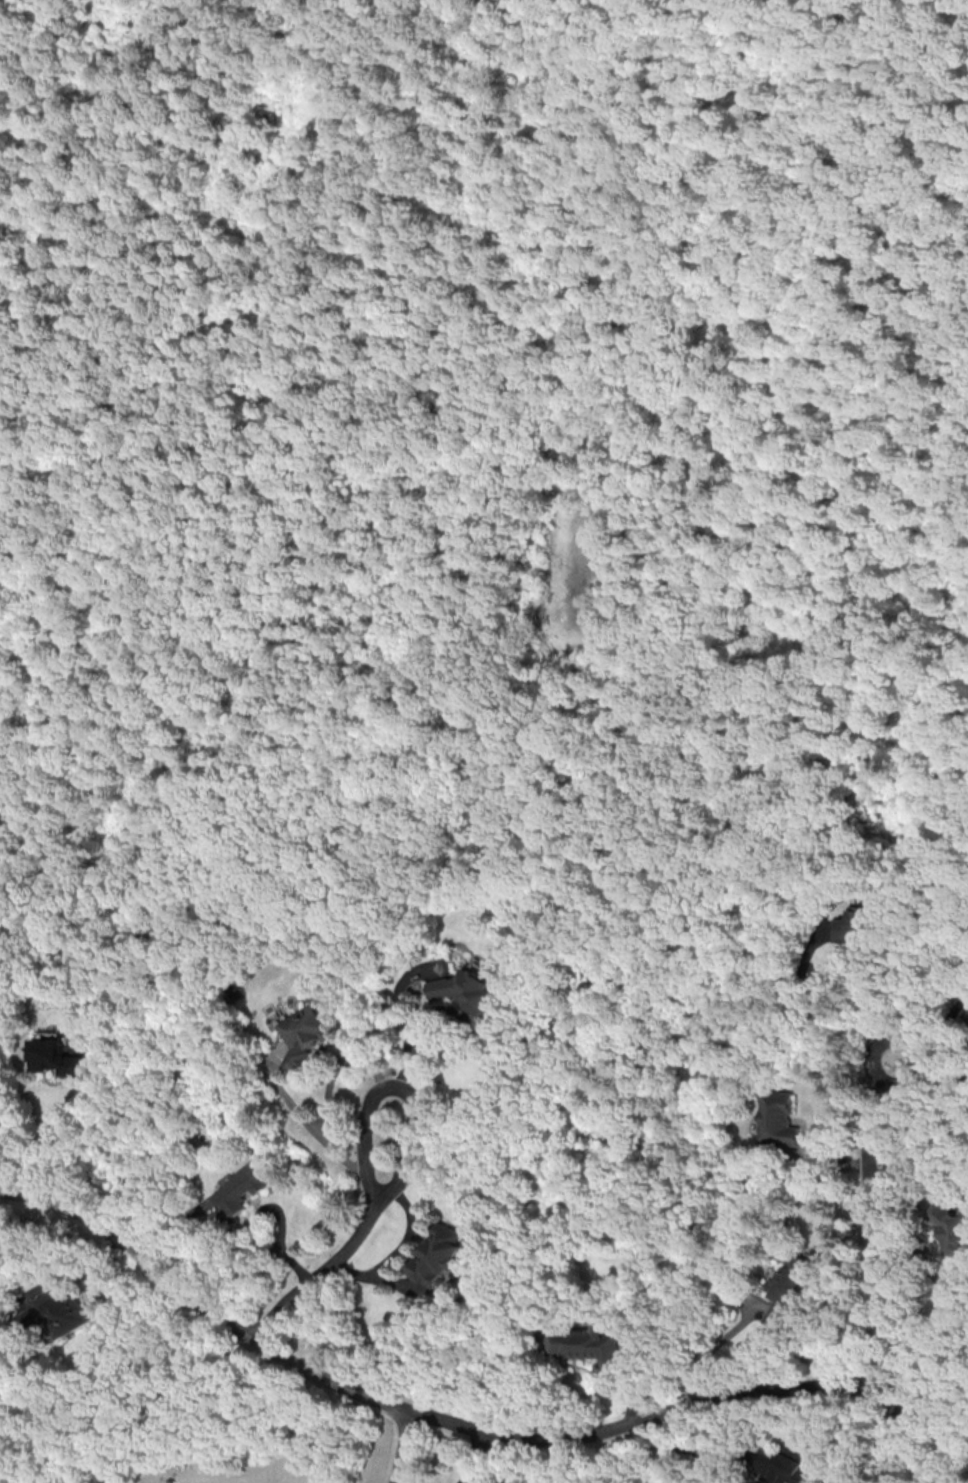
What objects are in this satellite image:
building: (464, 989)
road: (815, 1013)
road: (405, 1030)
building: (304, 1033)
building: (55, 1058)
road: (348, 1059)
road: (485, 1065)
building: (777, 1119)
road: (312, 1128)
road: (63, 1145)
building: (236, 1196)
road: (276, 1212)
road: (408, 1231)
building: (948, 1232)
road: (343, 1239)
building: (436, 1255)
road: (875, 1264)
road: (372, 1276)
building: (784, 1294)
building: (54, 1312)
building: (581, 1343)
road: (710, 1347)
road: (930, 1395)
road: (418, 1414)
road: (398, 1447)
road: (689, 1451)
building: (782, 1467)

